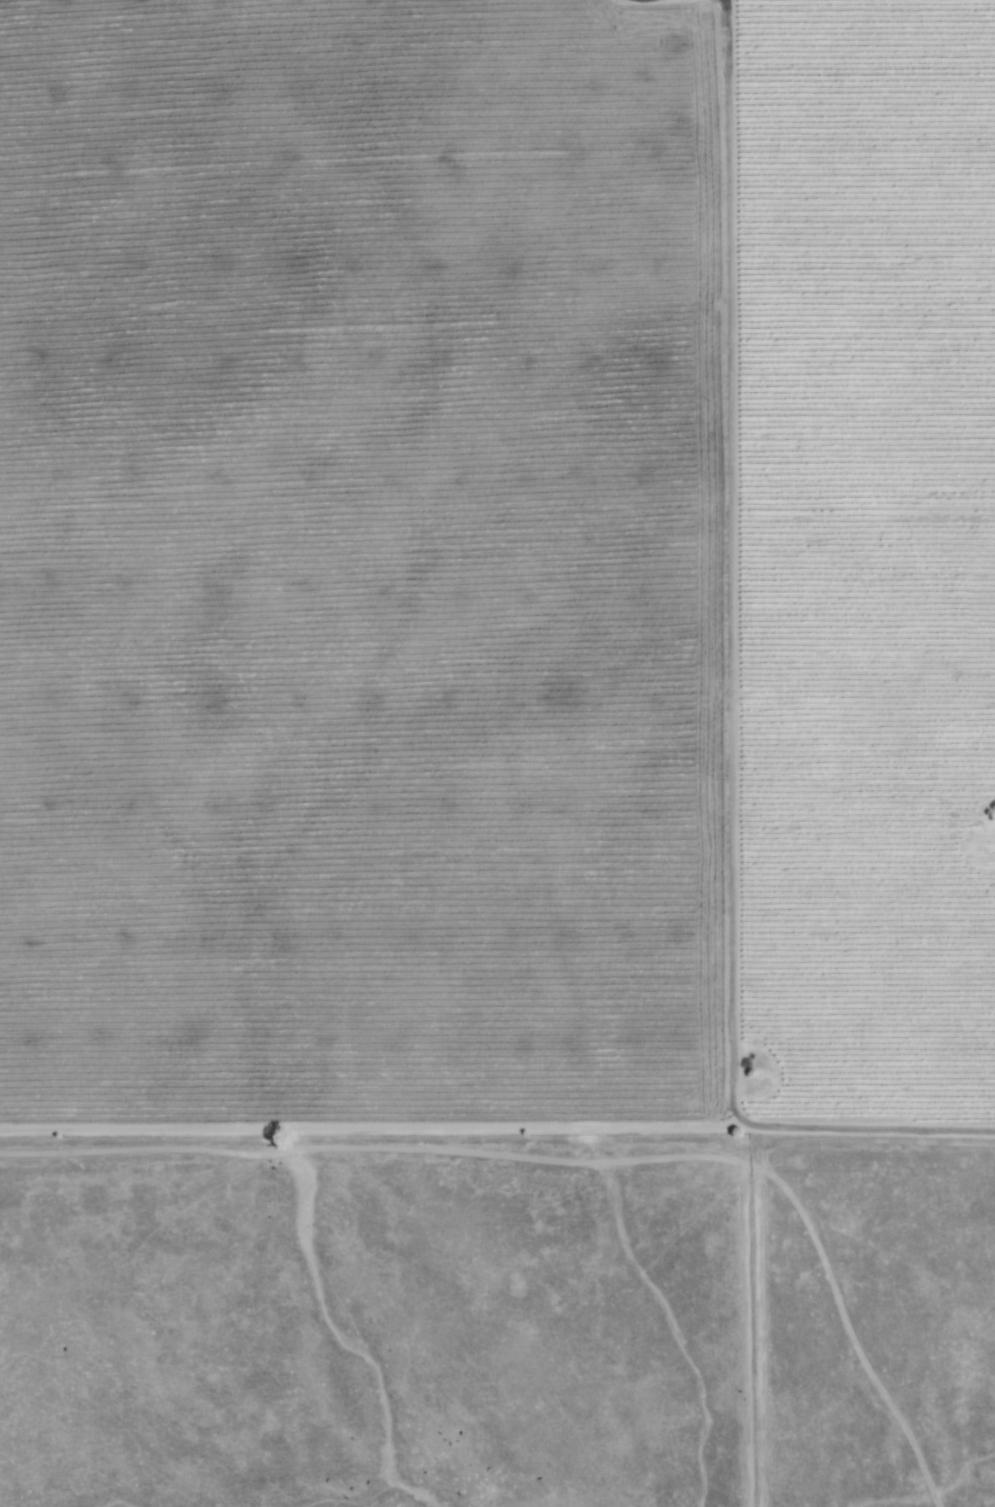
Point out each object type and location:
road: (497, 1135)

